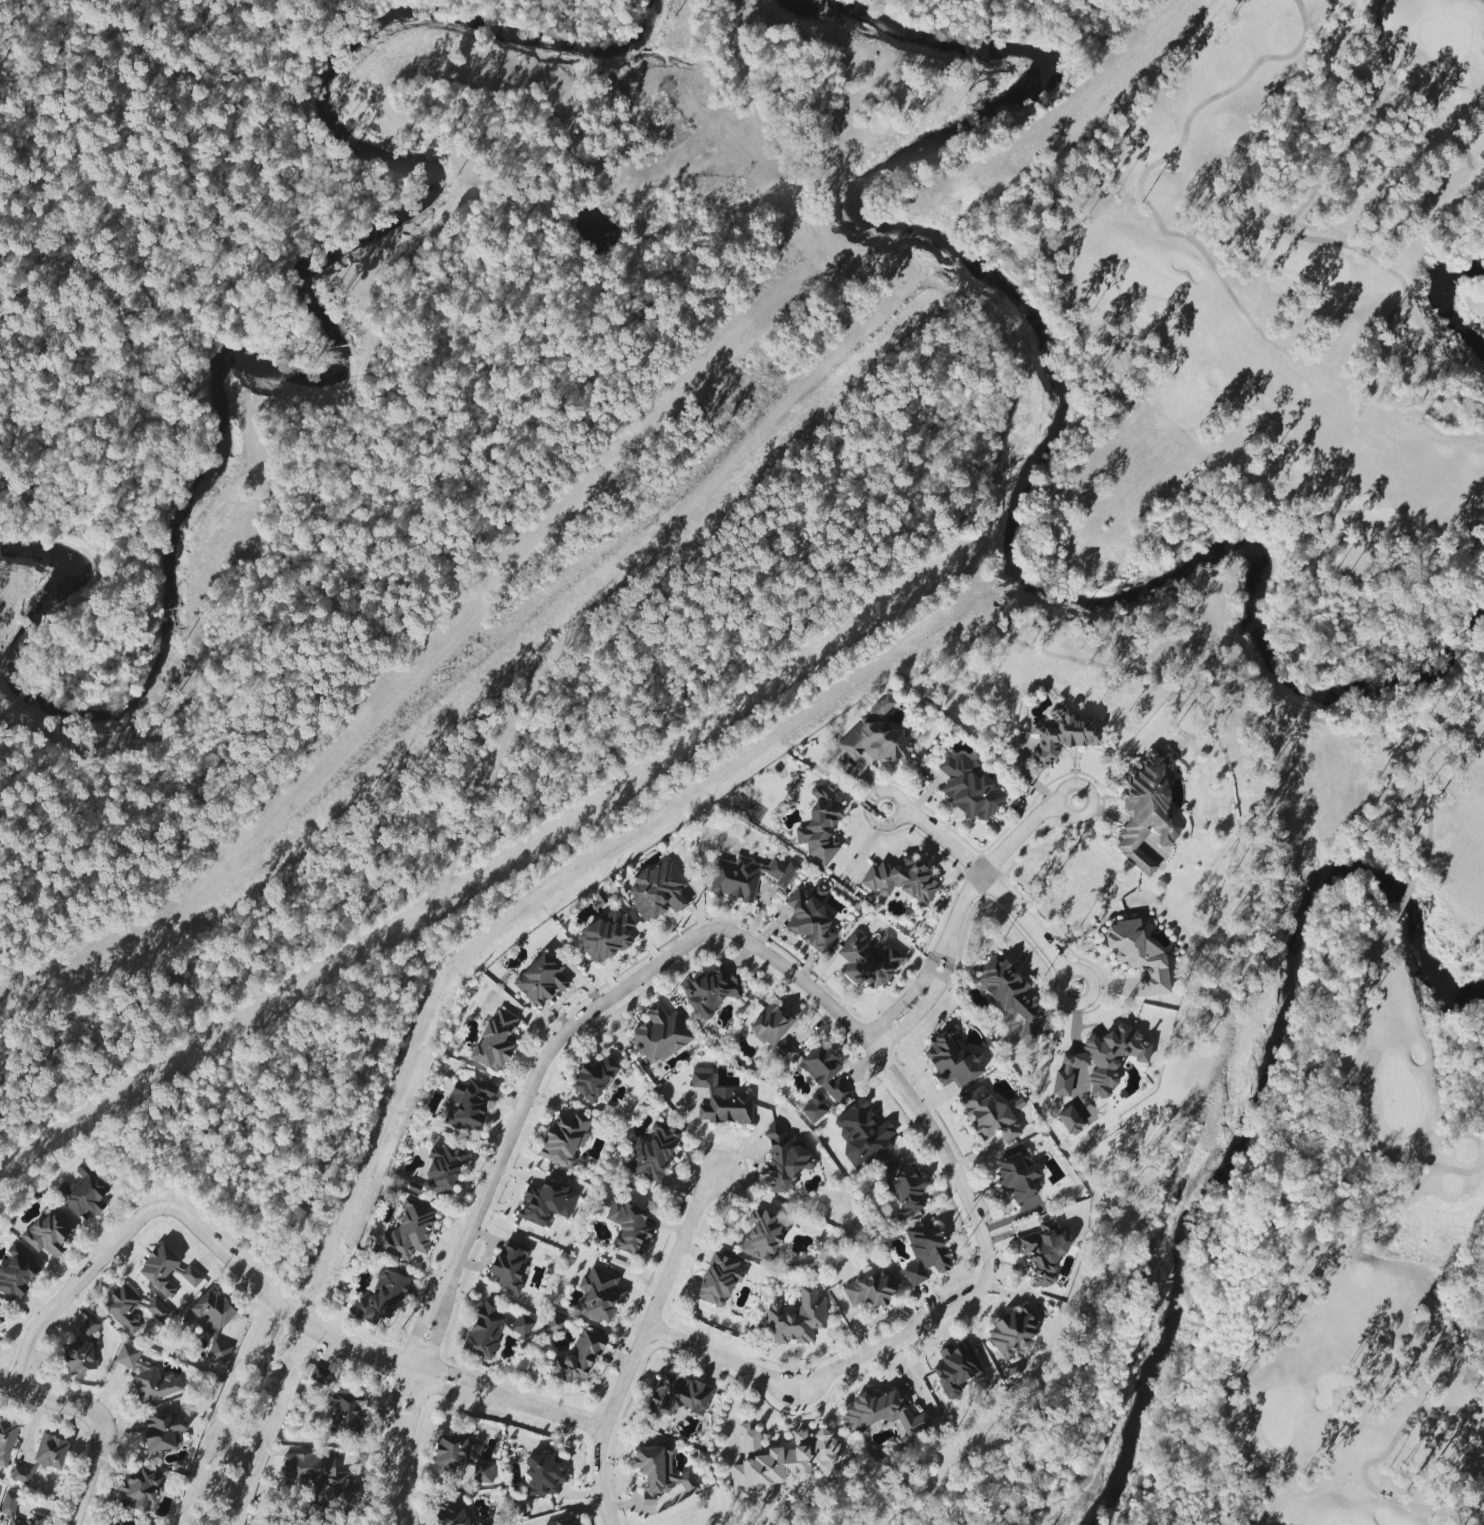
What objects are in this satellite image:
river: (1442, 306)
river: (341, 371)
river: (1068, 402)
park: (1228, 641)
building: (881, 706)
building: (1061, 737)
building: (875, 741)
building: (969, 788)
road: (1060, 789)
road: (900, 818)
building: (1145, 818)
building: (820, 826)
road: (1015, 836)
road: (944, 839)
building: (747, 877)
building: (900, 880)
building: (656, 891)
road: (961, 904)
building: (810, 918)
road: (1023, 923)
building: (606, 936)
road: (939, 947)
road: (948, 952)
building: (1138, 956)
building: (867, 962)
road: (1072, 968)
building: (541, 979)
road: (928, 986)
building: (710, 991)
building: (1009, 994)
road: (899, 1002)
road: (916, 1014)
building: (770, 1025)
building: (659, 1035)
building: (495, 1041)
building: (785, 1051)
building: (951, 1061)
building: (1098, 1064)
road: (885, 1065)
road: (537, 1068)
building: (825, 1073)
building: (593, 1079)
river: (1253, 1097)
building: (720, 1100)
building: (468, 1105)
building: (814, 1109)
building: (988, 1116)
building: (1070, 1121)
building: (861, 1133)
building: (564, 1139)
building: (653, 1153)
building: (784, 1160)
building: (444, 1168)
building: (1017, 1176)
building: (903, 1186)
building: (82, 1193)
building: (546, 1202)
building: (628, 1226)
building: (47, 1232)
building: (409, 1232)
building: (762, 1235)
building: (925, 1252)
building: (1042, 1255)
building: (509, 1267)
building: (166, 1271)
building: (16, 1272)
building: (718, 1279)
building: (868, 1291)
road: (262, 1292)
building: (600, 1295)
building: (380, 1298)
road: (657, 1303)
building: (122, 1308)
building: (157, 1310)
building: (1, 1320)
building: (796, 1320)
road: (421, 1321)
building: (210, 1323)
building: (553, 1324)
building: (89, 1326)
road: (436, 1326)
building: (521, 1326)
building: (485, 1329)
building: (1011, 1335)
building: (78, 1357)
building: (578, 1358)
building: (955, 1368)
road: (834, 1373)
building: (146, 1376)
building: (678, 1395)
road: (49, 1400)
building: (338, 1405)
road: (395, 1408)
road: (412, 1411)
building: (881, 1413)
road: (241, 1419)
building: (163, 1431)
building: (6, 1440)
building: (50, 1451)
building: (453, 1451)
building: (778, 1463)
road: (88, 1472)
building: (483, 1472)
building: (659, 1474)
building: (20, 1475)
building: (544, 1475)
road: (597, 1479)
building: (321, 1482)
road: (400, 1487)
building: (139, 1488)
building: (8, 1503)
building: (35, 1519)
building: (121, 1521)
building: (565, 1522)
building: (16, 1523)

